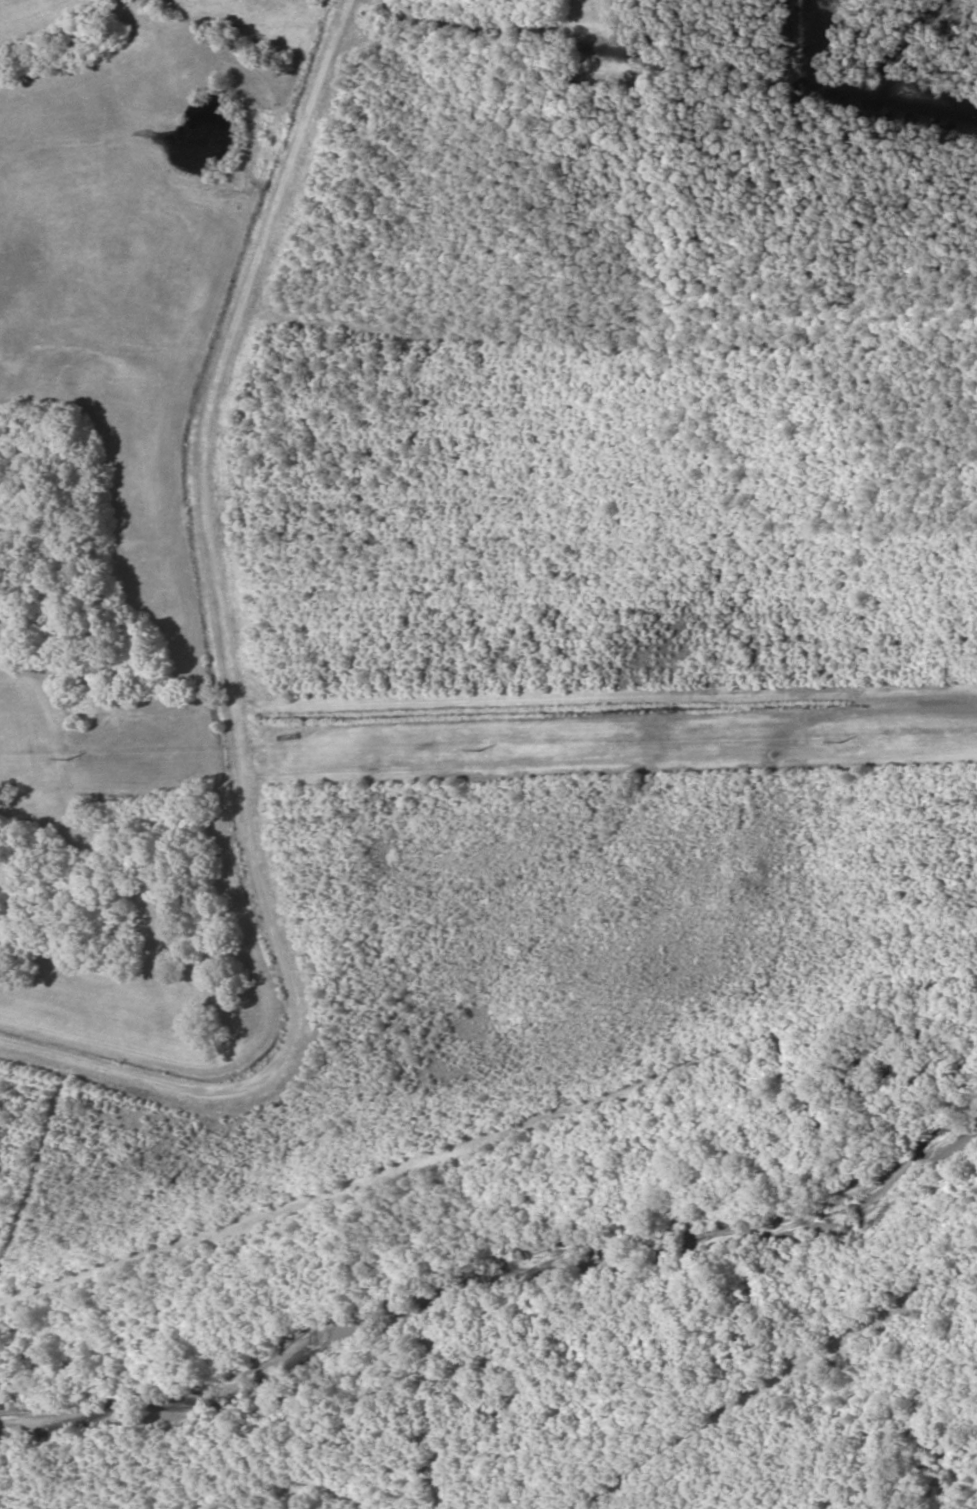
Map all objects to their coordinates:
road: (237, 653)
power tower: (845, 739)
power tower: (487, 747)
power tower: (81, 756)

